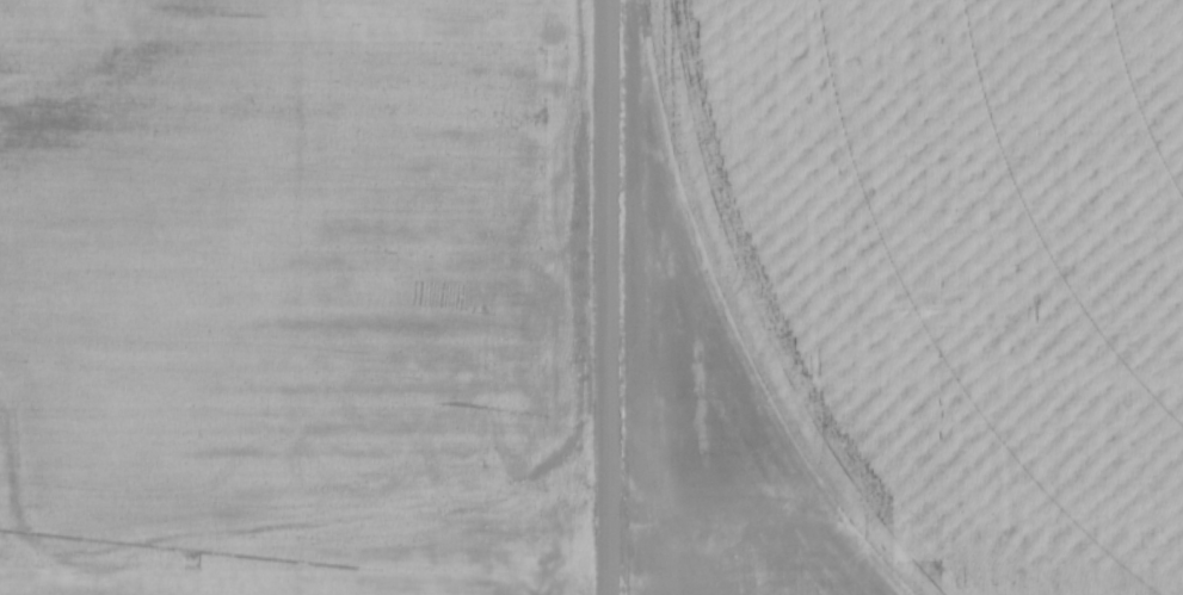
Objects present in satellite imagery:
crop: (295, 297)
road: (611, 297)
crop: (907, 298)

